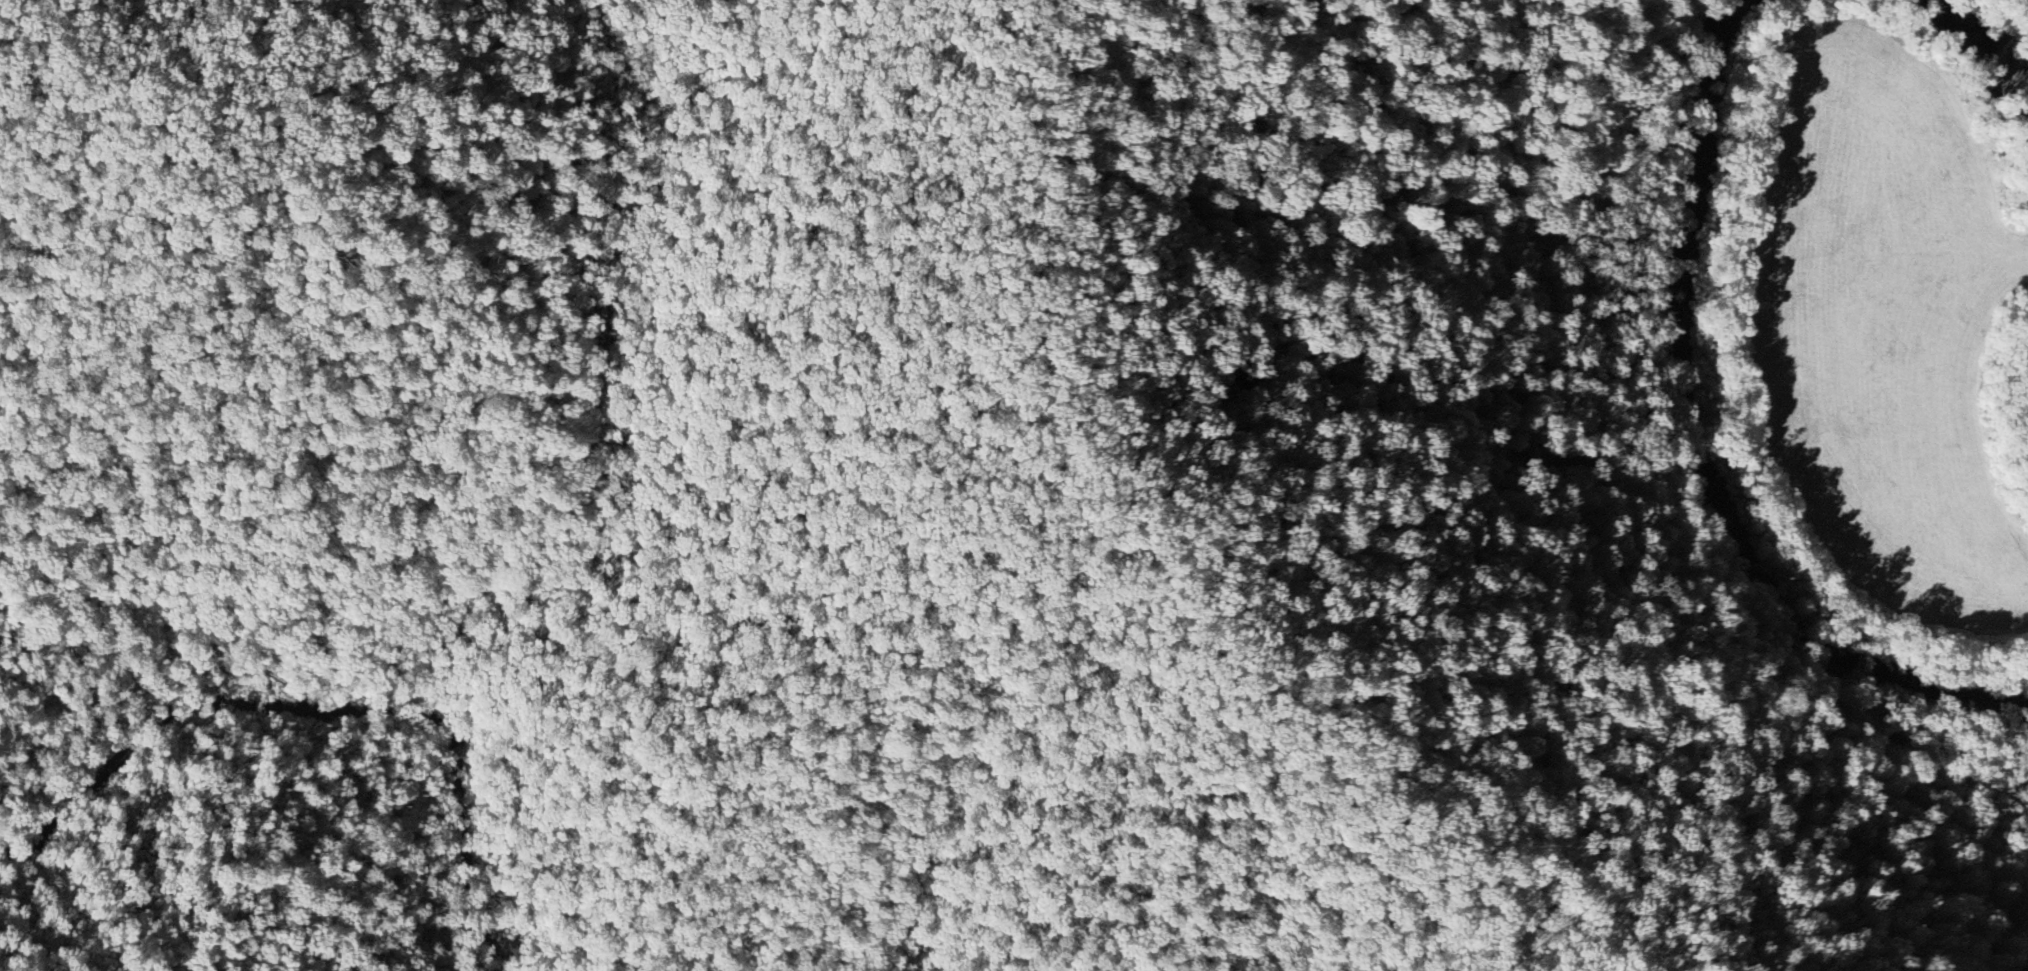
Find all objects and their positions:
river: (1957, 9)
river: (1993, 47)
river: (1698, 439)
road: (304, 701)

